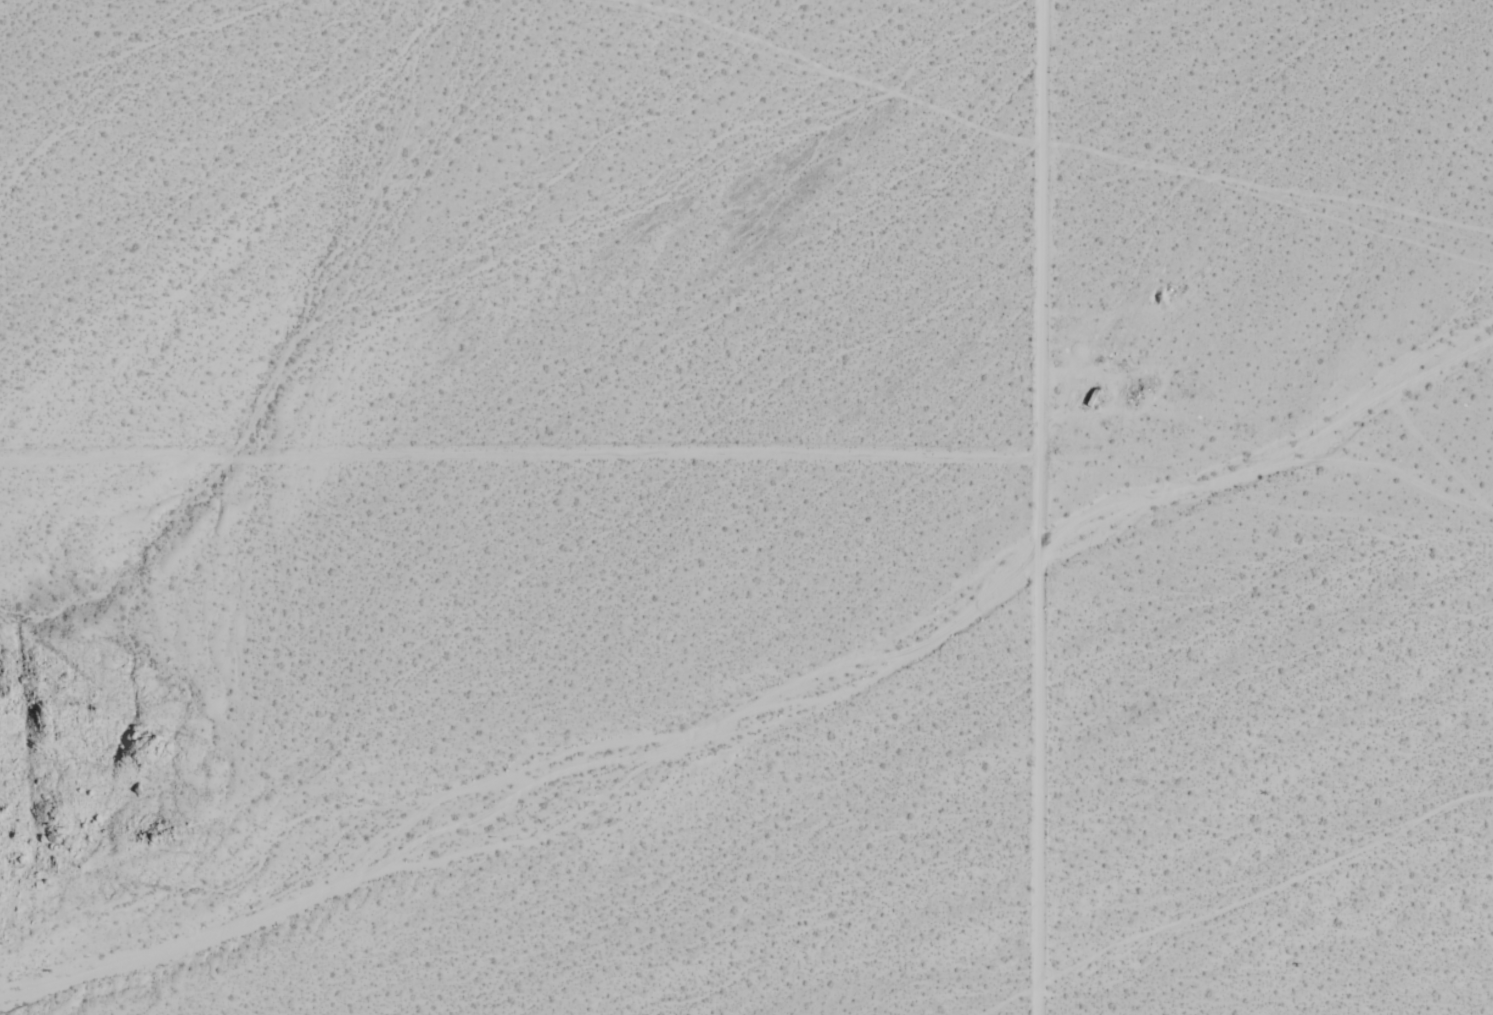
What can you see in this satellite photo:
road: (1051, 507)

